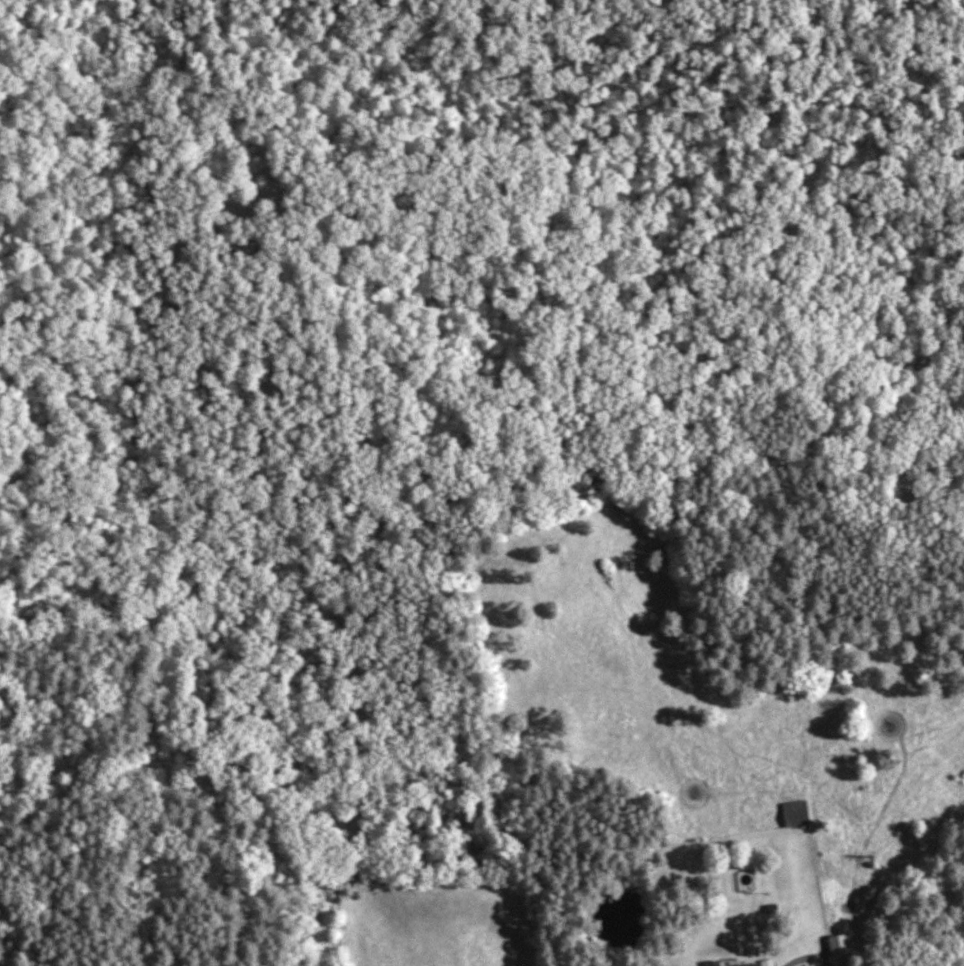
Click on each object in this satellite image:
building: (793, 814)
building: (837, 950)
building: (750, 964)

